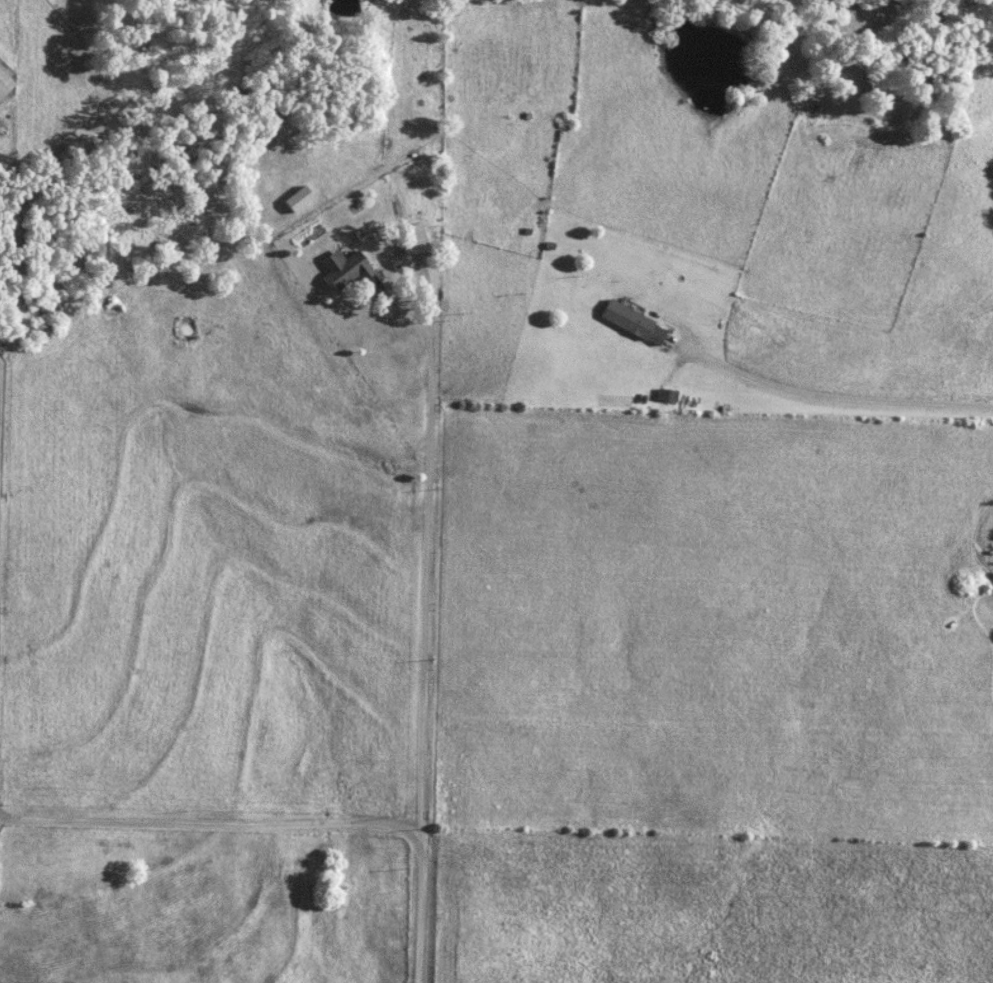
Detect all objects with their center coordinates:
building: (6, 84)
building: (417, 238)
building: (347, 268)
building: (638, 322)
road: (826, 396)
road: (1, 451)
road: (428, 563)
road: (284, 822)

